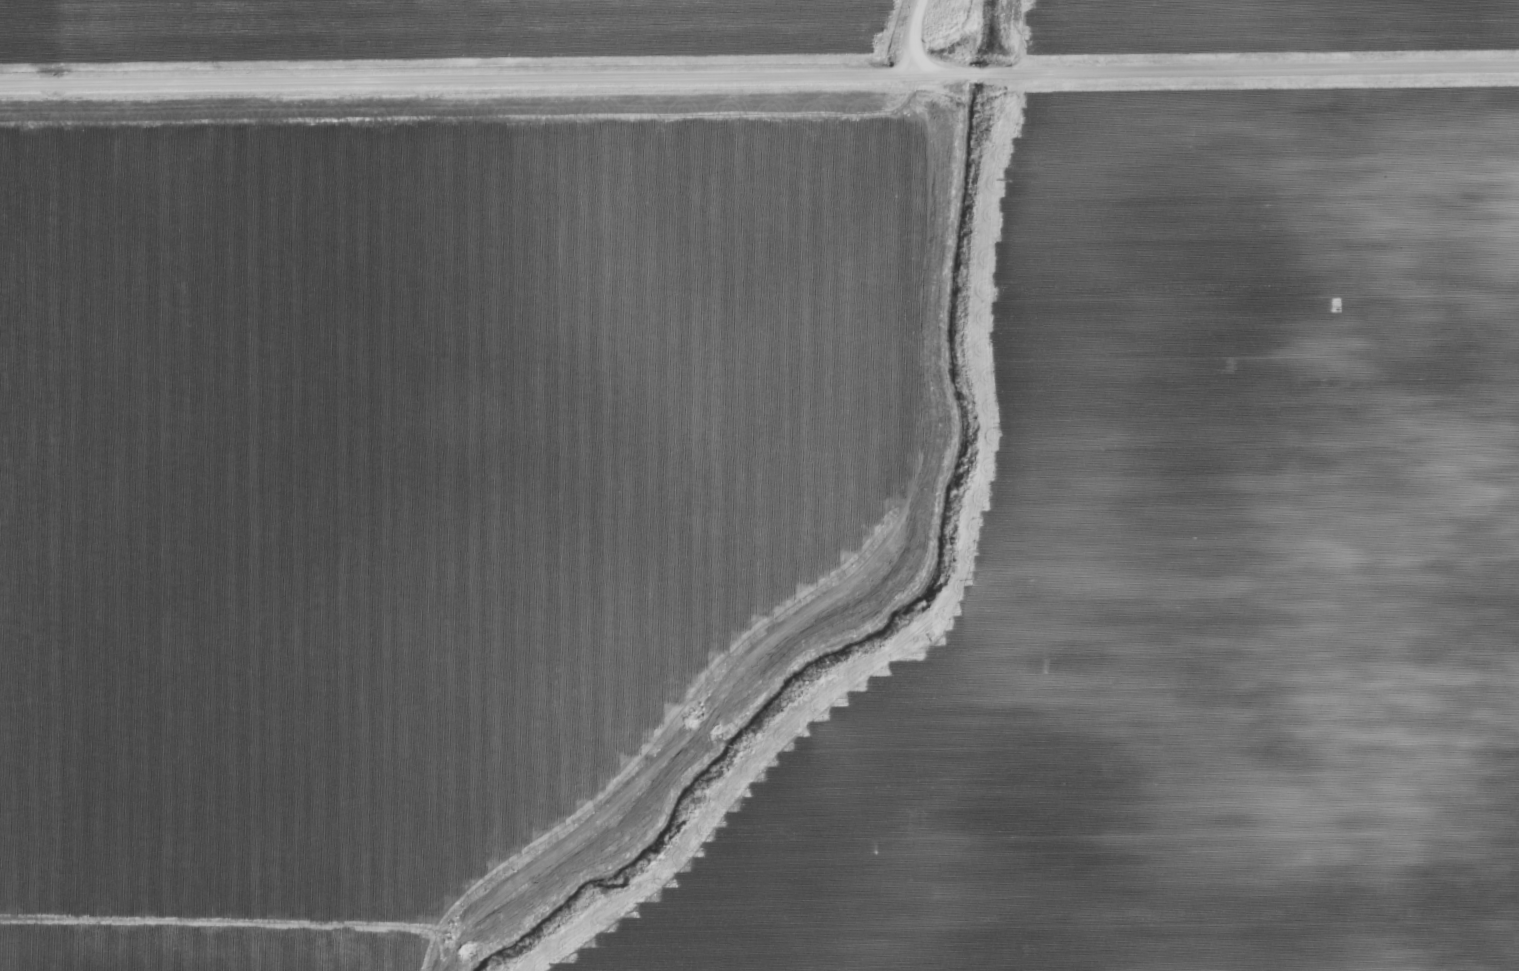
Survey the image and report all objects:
road: (759, 68)

